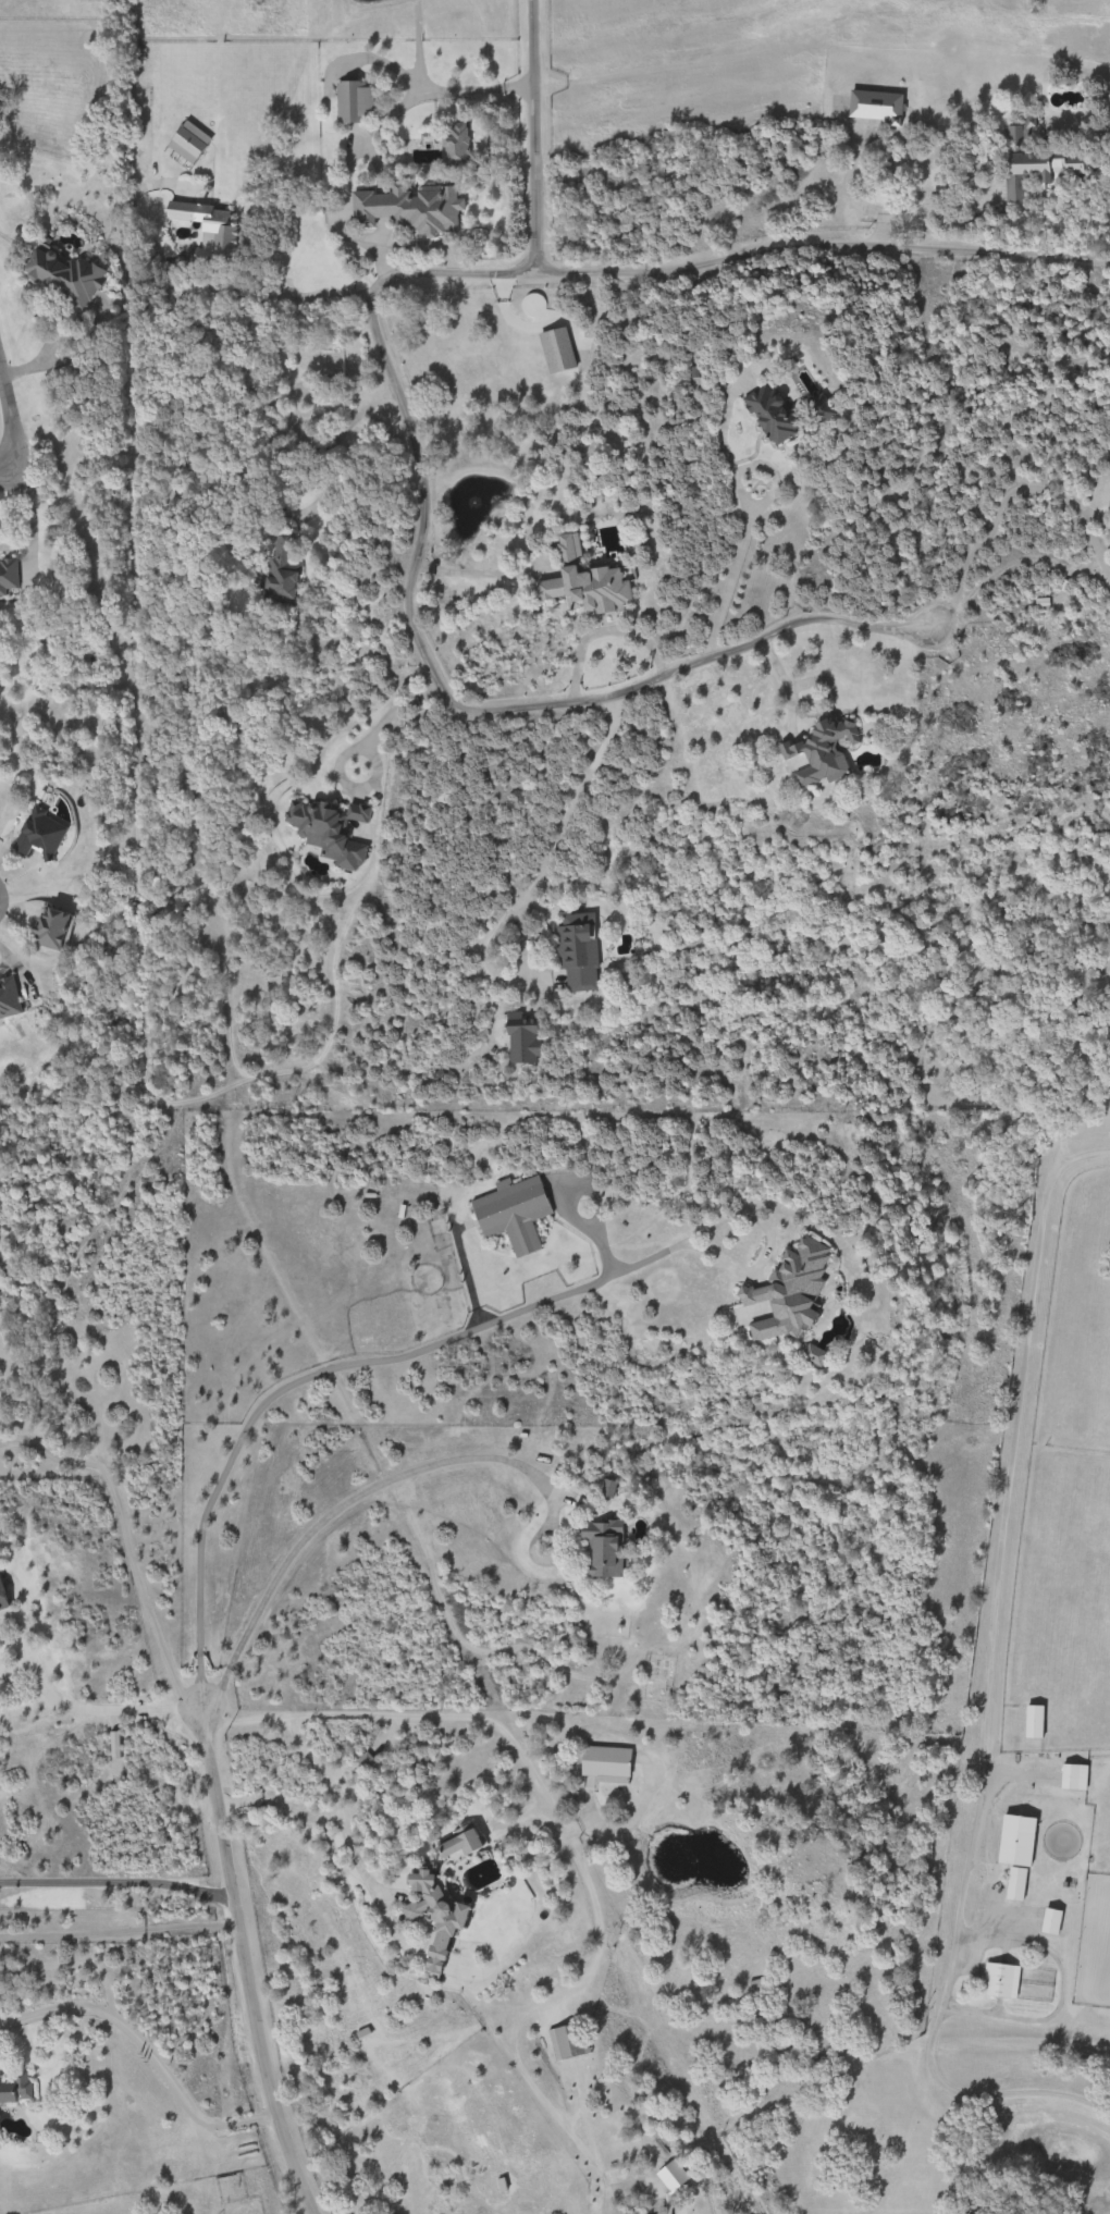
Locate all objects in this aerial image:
building: (92, 0)
building: (354, 101)
building: (878, 106)
road: (368, 127)
road: (531, 134)
building: (188, 143)
building: (457, 144)
building: (1038, 162)
building: (409, 207)
building: (208, 230)
road: (819, 243)
road: (421, 245)
building: (67, 271)
road: (445, 271)
road: (178, 284)
building: (557, 350)
building: (822, 409)
building: (773, 415)
road: (9, 418)
road: (330, 455)
road: (1009, 493)
road: (736, 551)
road: (468, 570)
building: (283, 571)
building: (9, 577)
building: (585, 582)
road: (483, 705)
road: (372, 728)
building: (822, 752)
road: (564, 815)
building: (42, 834)
building: (59, 925)
building: (580, 951)
building: (9, 1000)
building: (523, 1038)
building: (514, 1213)
building: (793, 1291)
road: (421, 1349)
road: (1007, 1446)
road: (329, 1513)
road: (126, 1541)
building: (607, 1549)
building: (3, 1595)
road: (60, 1695)
building: (363, 1761)
building: (607, 1763)
building: (1068, 1776)
road: (312, 1815)
road: (624, 1824)
building: (1016, 1840)
building: (462, 1841)
road: (567, 1847)
road: (114, 1877)
building: (1014, 1884)
building: (439, 1915)
building: (1050, 1920)
road: (116, 1931)
road: (242, 1966)
building: (1000, 1980)
road: (936, 2024)
building: (570, 2040)
road: (144, 2045)
building: (16, 2090)
road: (374, 2210)
building: (669, 2213)

